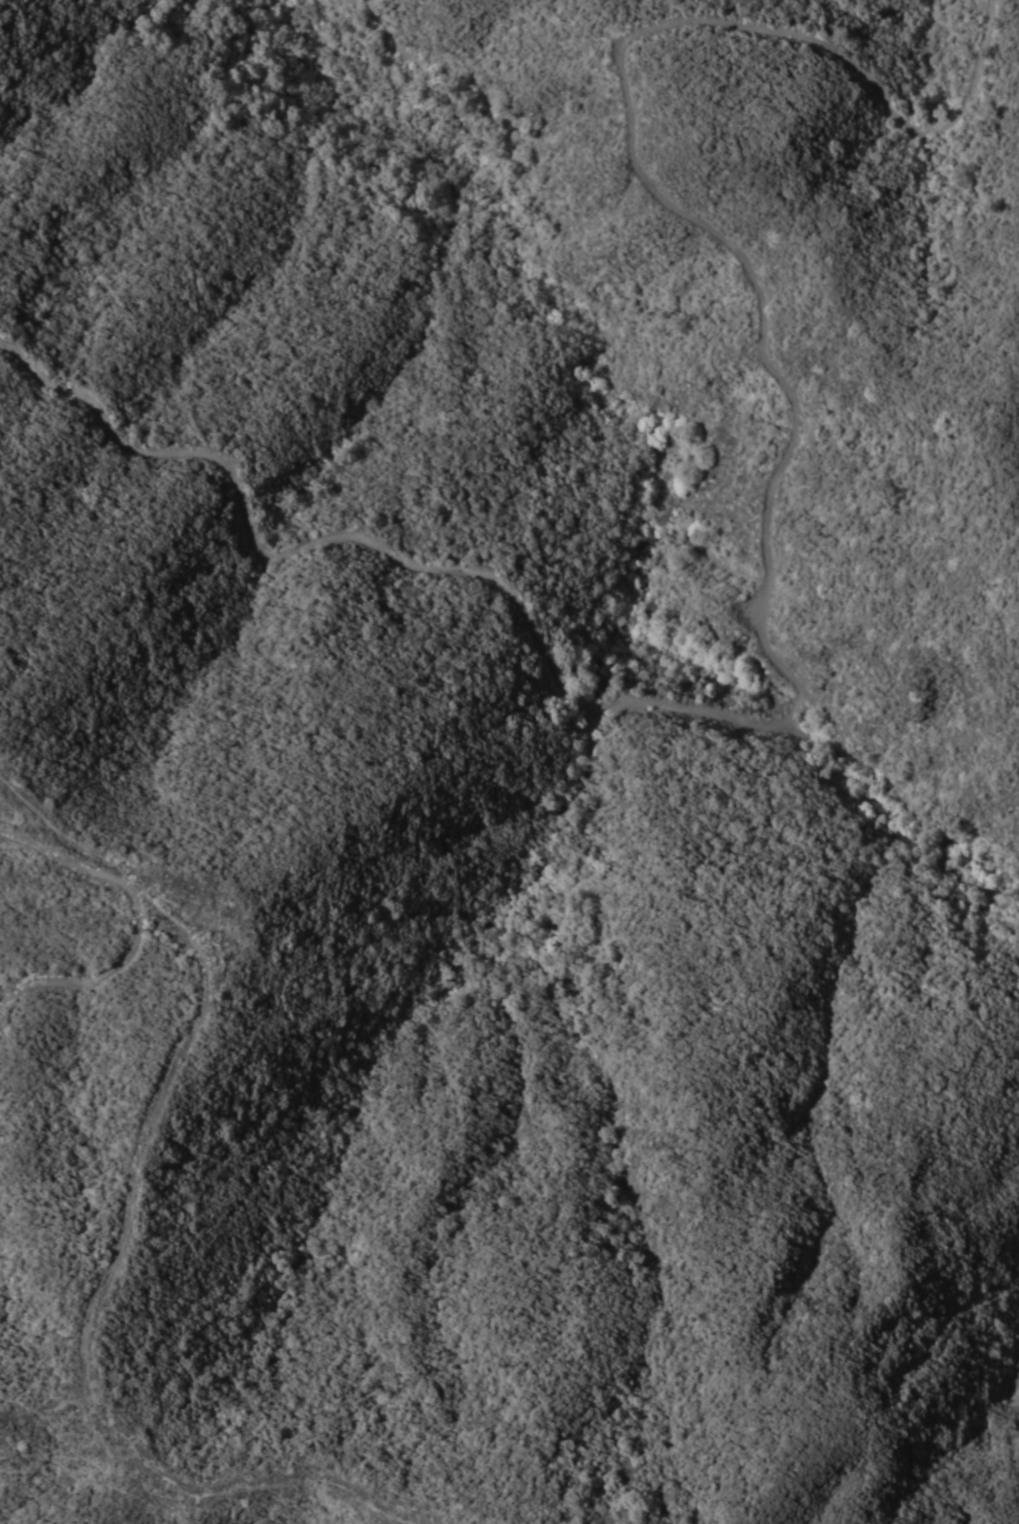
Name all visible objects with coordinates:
road: (365, 151)
road: (763, 589)
road: (59, 832)
road: (139, 918)
road: (96, 1301)

